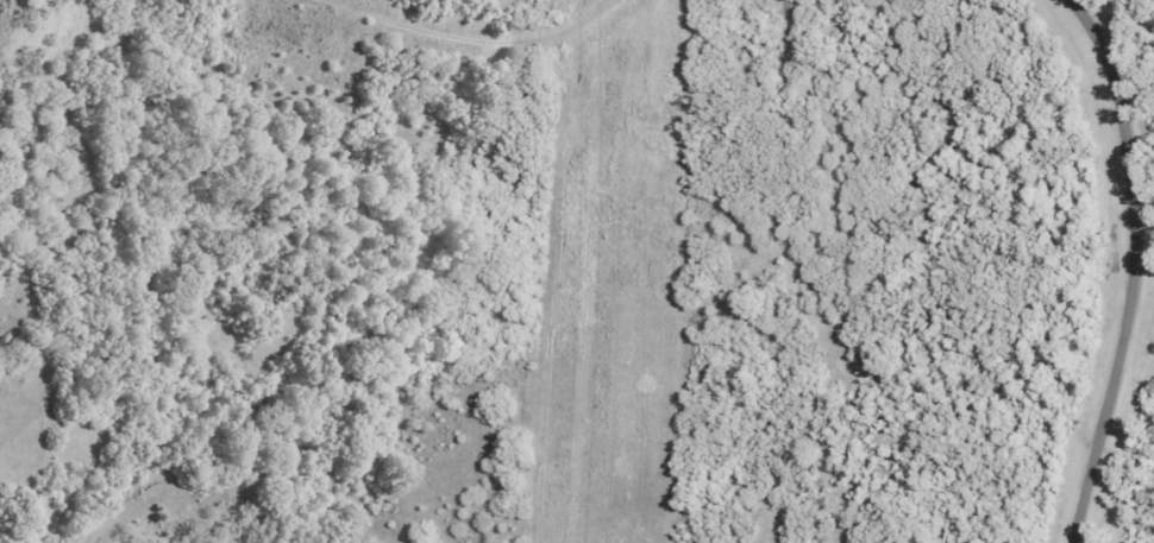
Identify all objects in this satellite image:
road: (476, 38)
road: (1135, 272)

